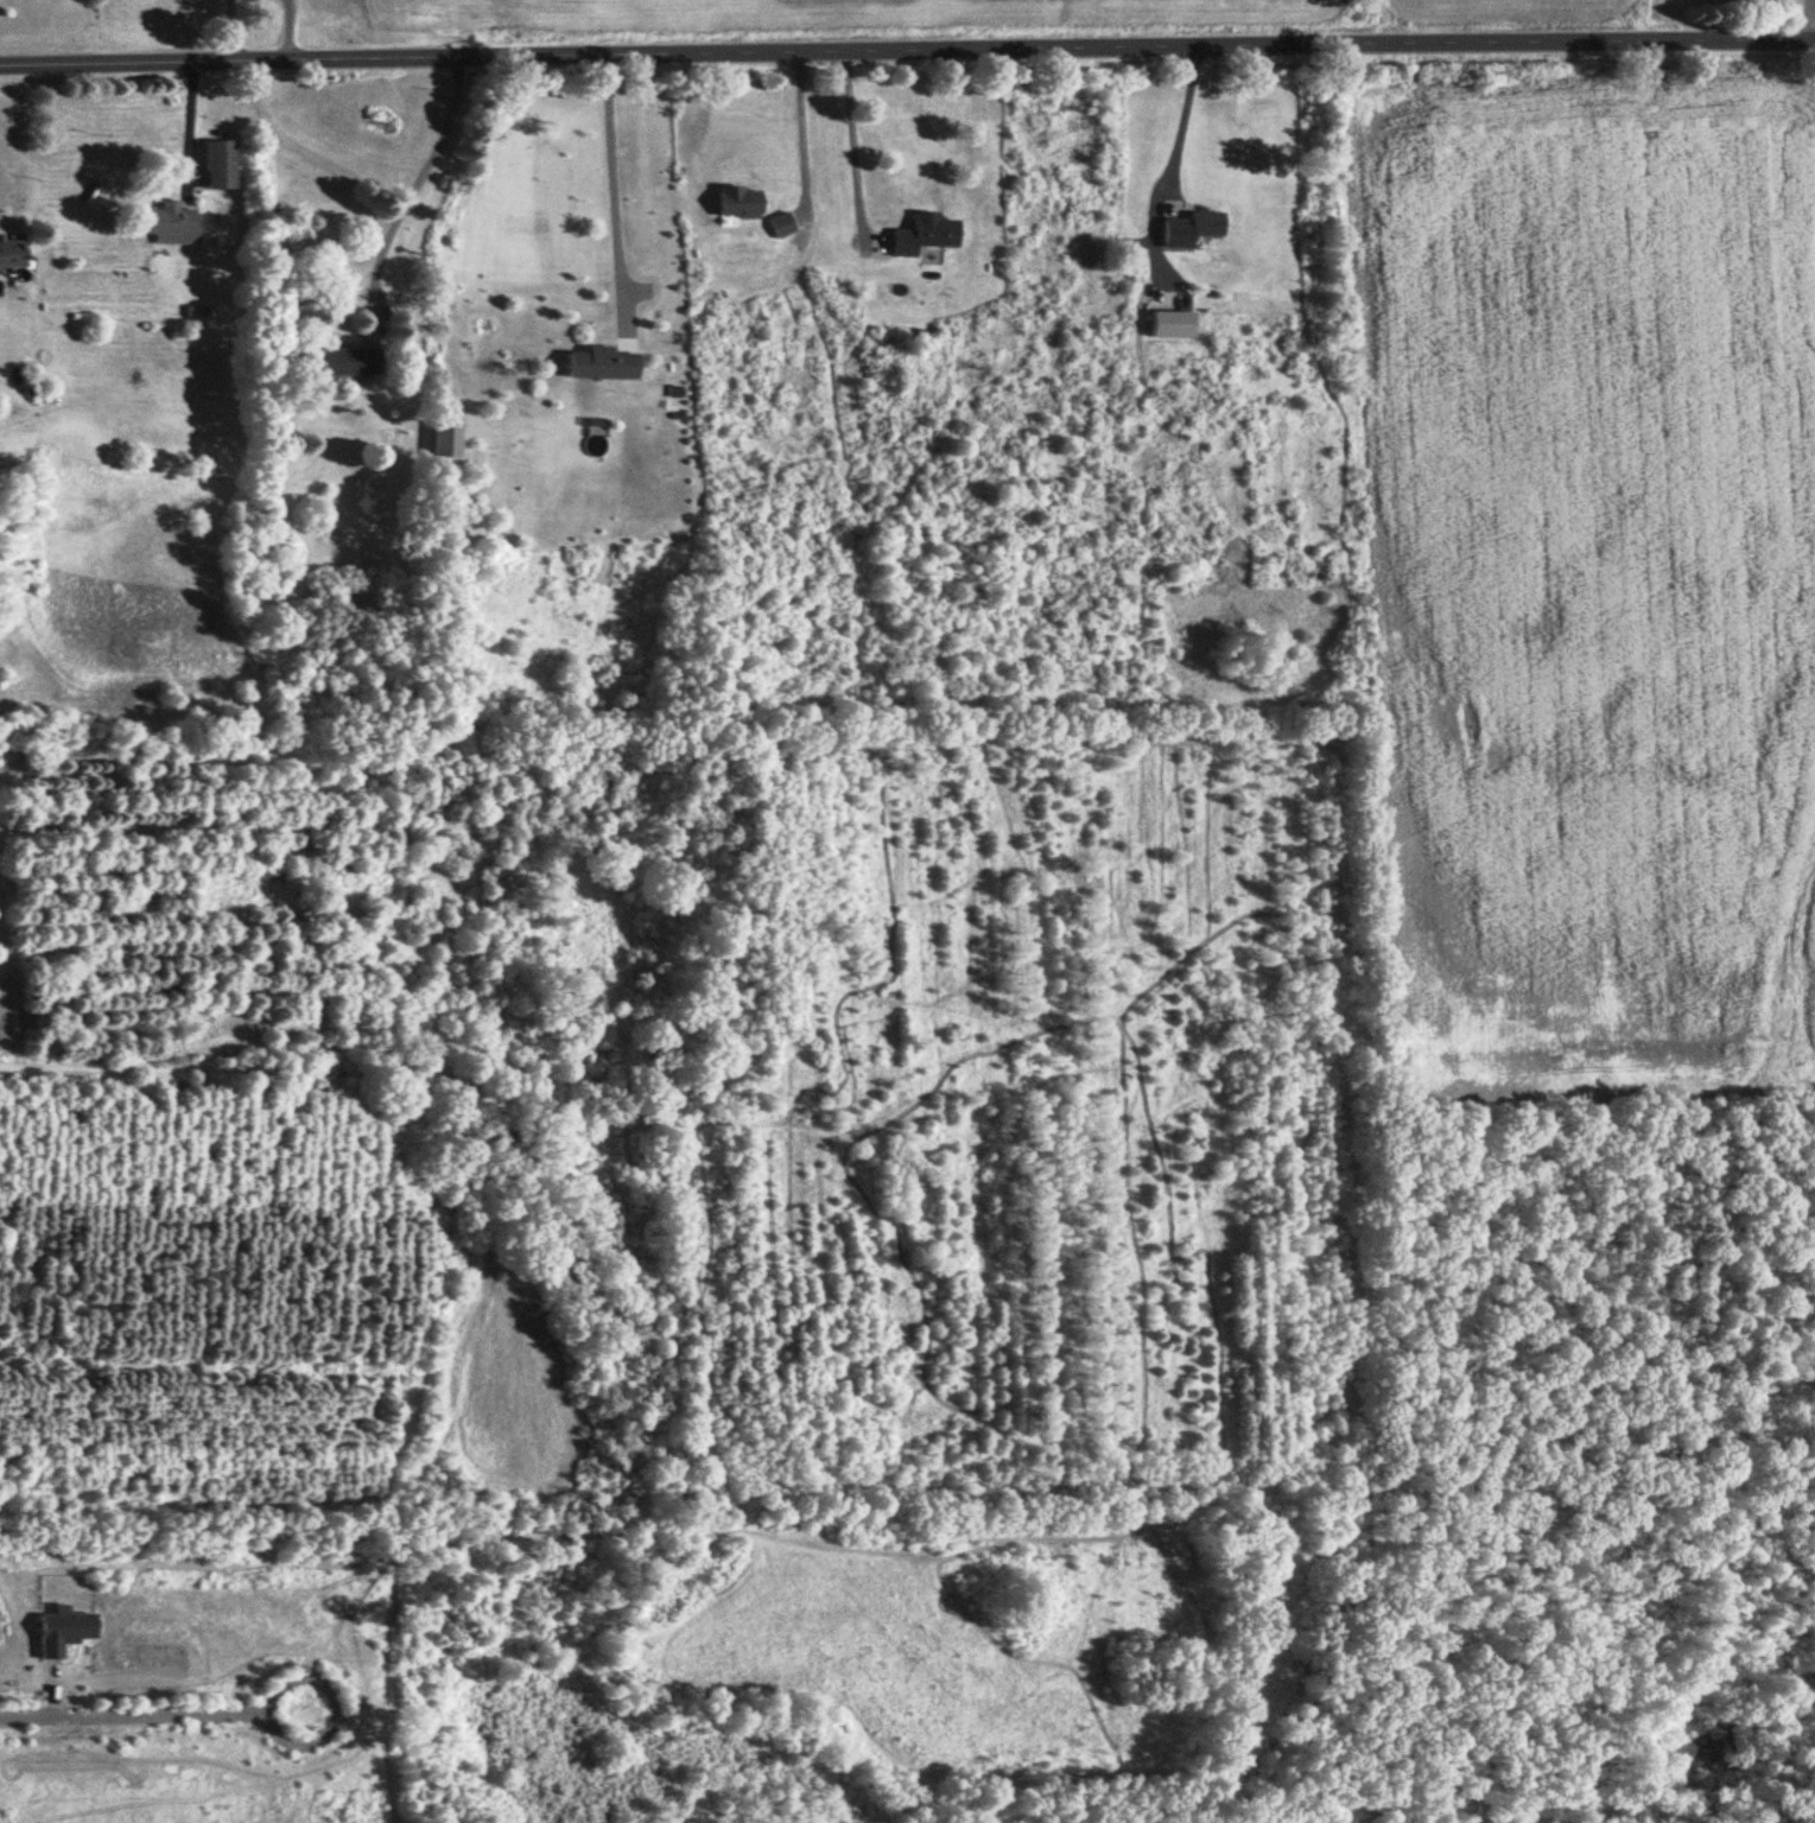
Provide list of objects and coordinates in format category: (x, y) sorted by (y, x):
road: (907, 44)
road: (1185, 114)
road: (804, 123)
road: (855, 145)
building: (220, 164)
road: (419, 178)
road: (613, 180)
building: (741, 188)
building: (171, 223)
building: (781, 223)
building: (1192, 228)
building: (925, 235)
building: (11, 254)
building: (347, 361)
building: (604, 362)
building: (446, 439)
road: (151, 1711)

